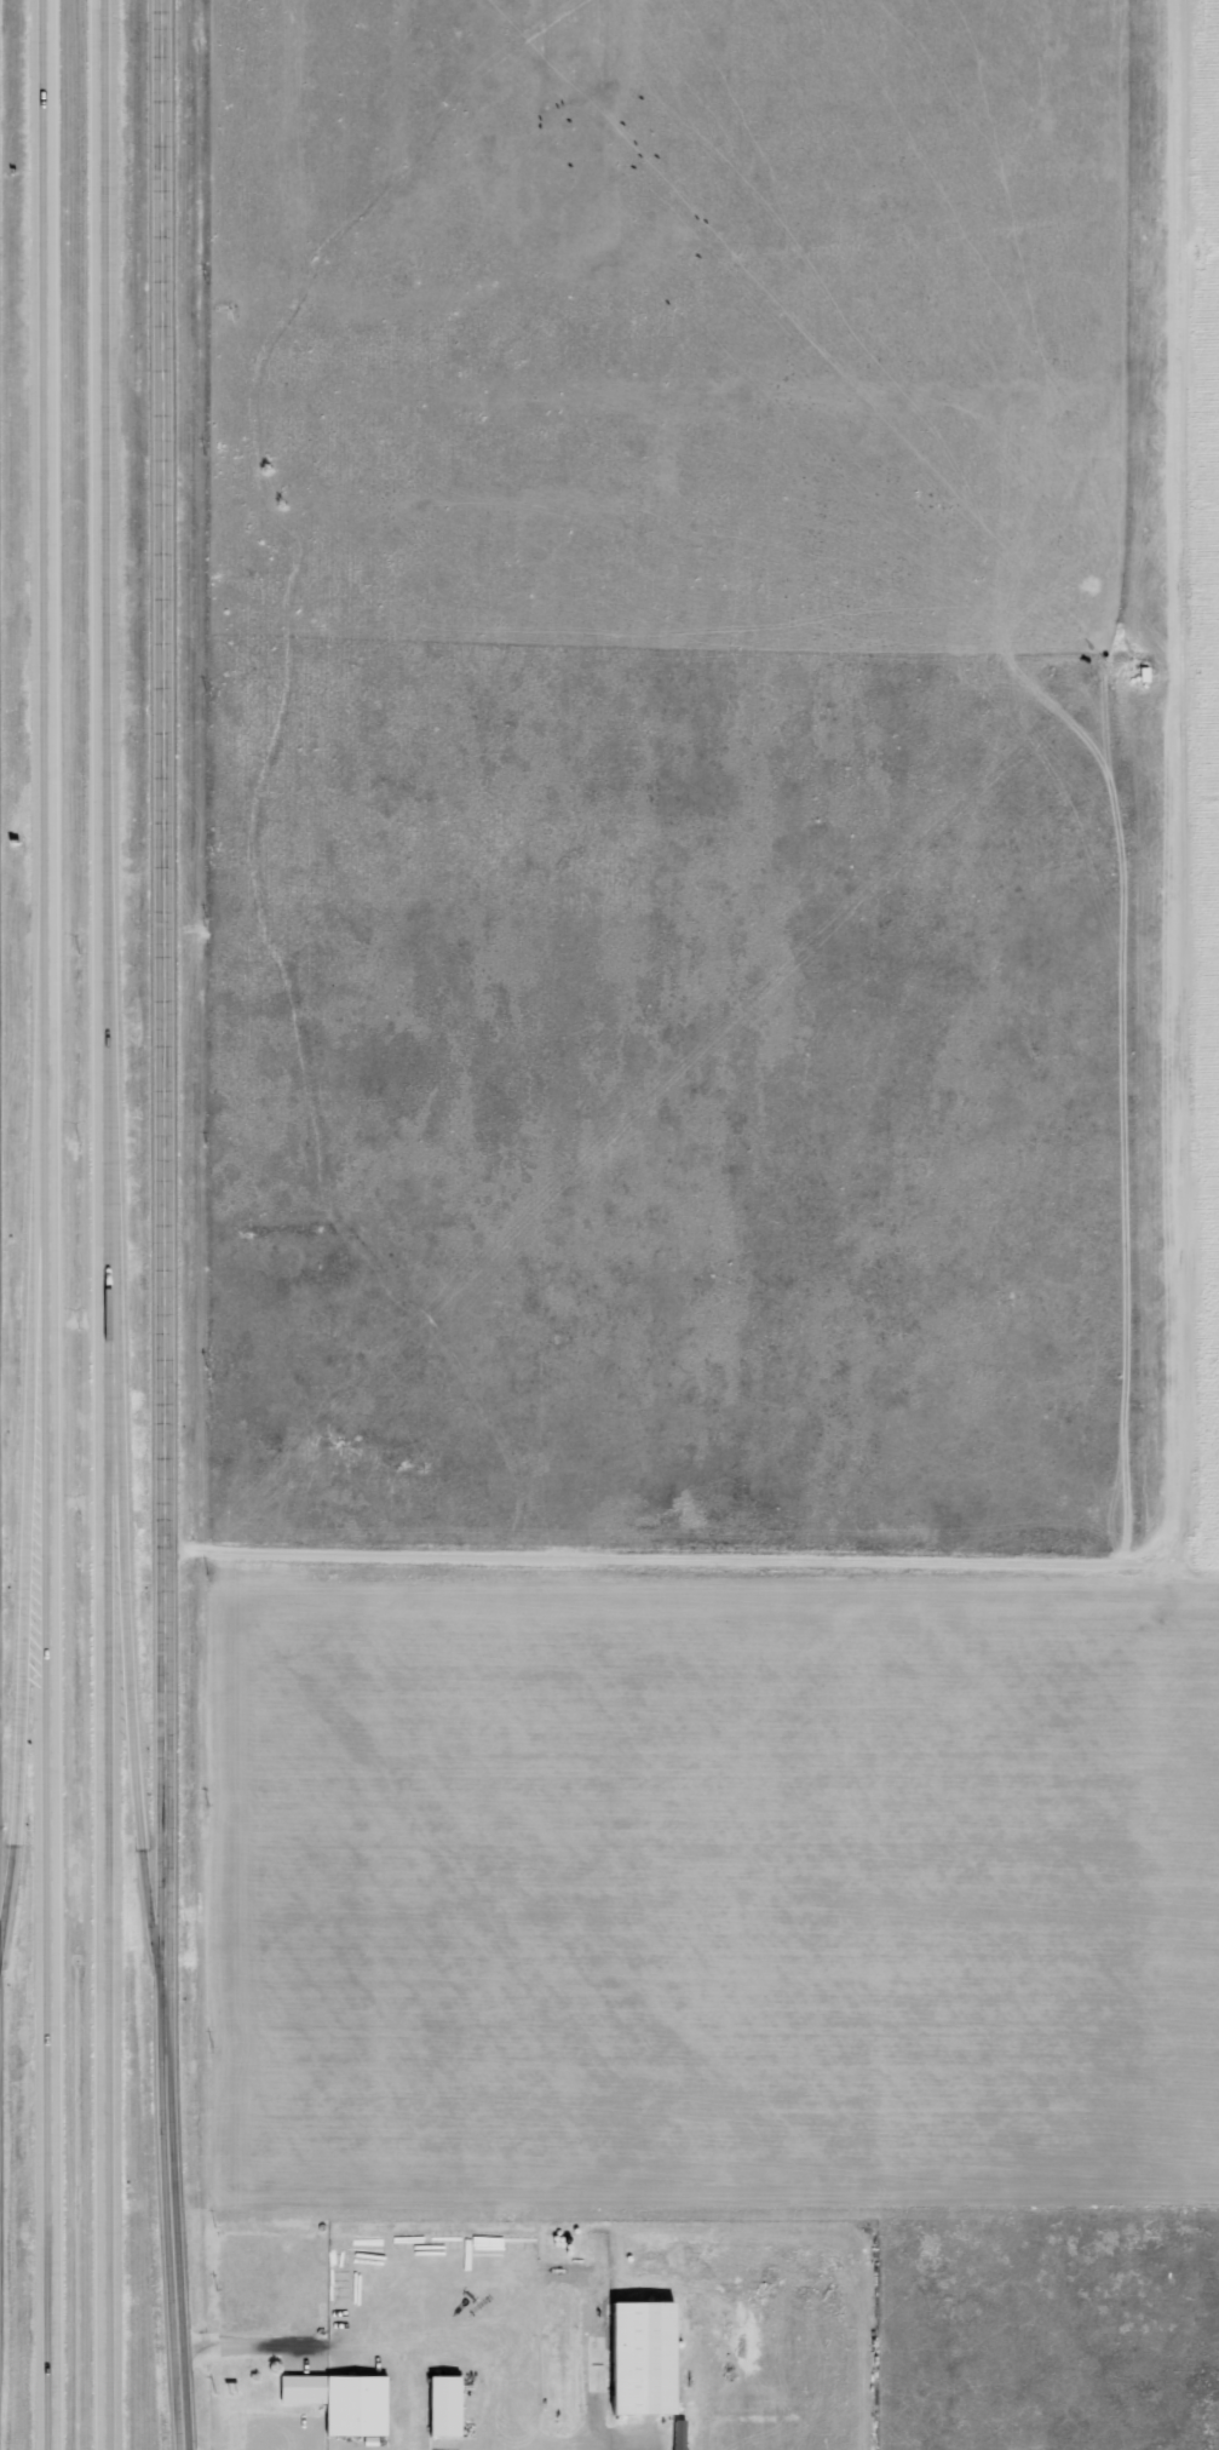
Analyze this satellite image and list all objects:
road: (51, 1224)
road: (115, 1224)
road: (172, 1224)
road: (27, 1568)
road: (136, 1755)
building: (637, 2359)
building: (441, 2408)

